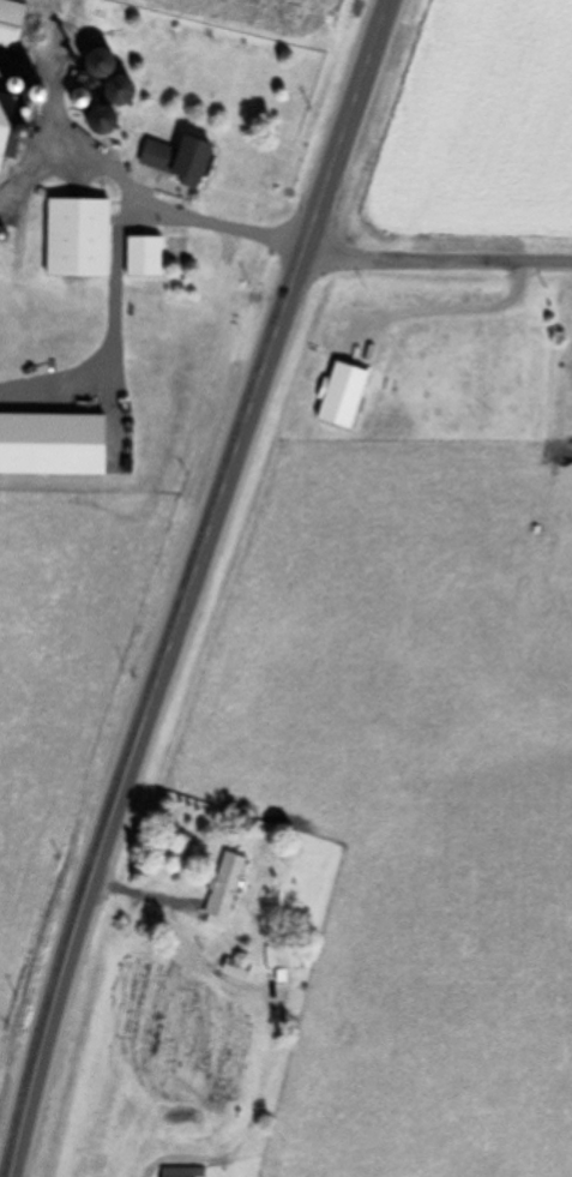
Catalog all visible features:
building: (94, 61)
building: (171, 158)
road: (222, 228)
building: (73, 236)
building: (146, 257)
road: (436, 258)
building: (339, 395)
road: (189, 586)
building: (221, 889)
building: (281, 956)
building: (180, 1171)

